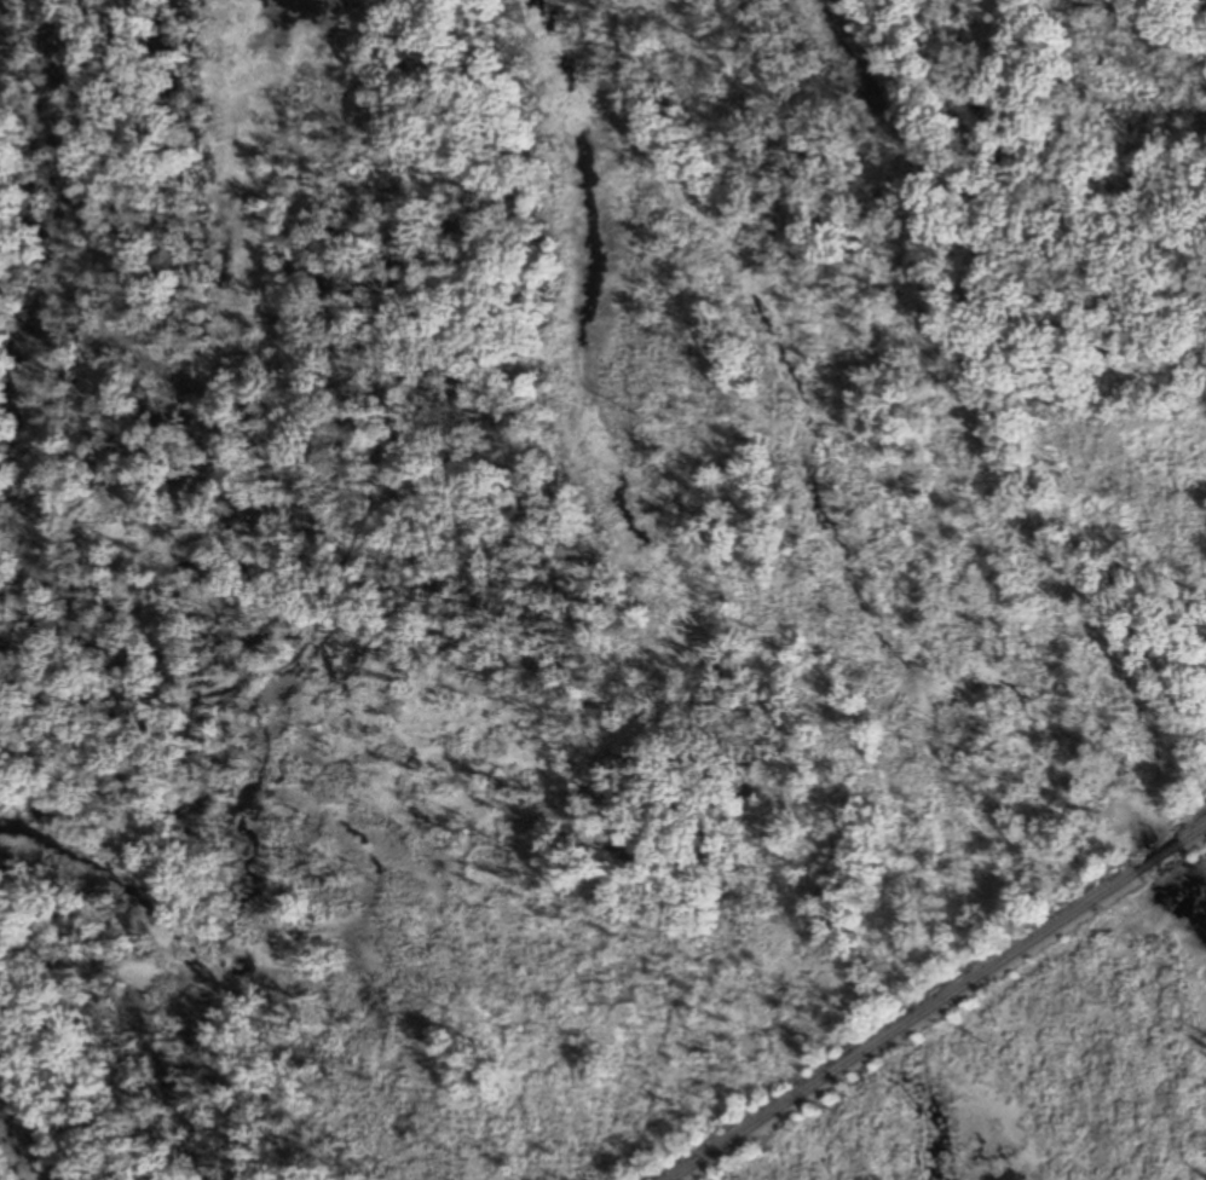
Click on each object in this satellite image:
railway: (1194, 834)
railway: (1159, 857)
railway: (905, 1026)

